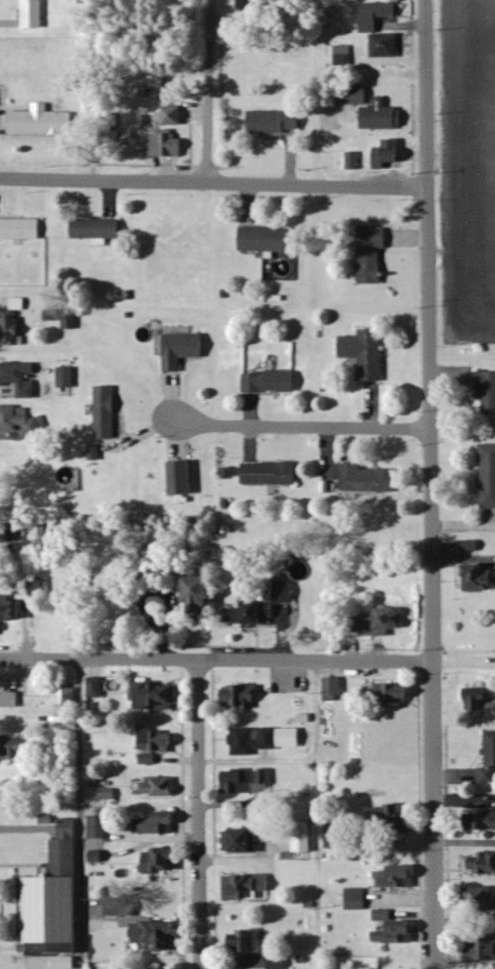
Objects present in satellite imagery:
building: (34, 14)
building: (376, 15)
building: (386, 46)
building: (343, 55)
road: (207, 92)
building: (355, 96)
building: (175, 113)
building: (382, 116)
building: (38, 121)
building: (275, 122)
building: (168, 145)
building: (388, 154)
building: (354, 161)
road: (213, 184)
building: (21, 230)
building: (97, 231)
building: (267, 240)
building: (372, 255)
building: (70, 322)
building: (13, 323)
building: (183, 349)
building: (367, 353)
building: (20, 378)
building: (67, 378)
building: (272, 383)
building: (486, 391)
building: (106, 413)
building: (21, 421)
road: (300, 427)
building: (271, 474)
building: (488, 476)
building: (182, 478)
building: (368, 479)
road: (428, 484)
building: (471, 546)
building: (480, 578)
building: (285, 592)
building: (203, 595)
building: (11, 609)
building: (248, 614)
building: (280, 614)
building: (384, 623)
road: (216, 662)
building: (96, 688)
building: (333, 690)
building: (394, 694)
building: (67, 696)
building: (9, 697)
building: (158, 697)
building: (243, 697)
building: (481, 700)
building: (264, 740)
building: (158, 742)
building: (12, 748)
building: (489, 760)
building: (265, 781)
building: (238, 782)
building: (160, 788)
road: (78, 815)
road: (196, 815)
road: (317, 815)
building: (389, 816)
building: (483, 822)
building: (161, 824)
building: (98, 827)
road: (27, 830)
building: (339, 837)
building: (305, 838)
building: (248, 842)
building: (98, 857)
building: (159, 861)
building: (481, 865)
building: (396, 878)
building: (250, 888)
building: (55, 899)
building: (482, 899)
building: (356, 900)
building: (122, 908)
building: (393, 930)
building: (158, 936)
building: (247, 942)
building: (483, 950)
building: (66, 963)
building: (279, 964)

